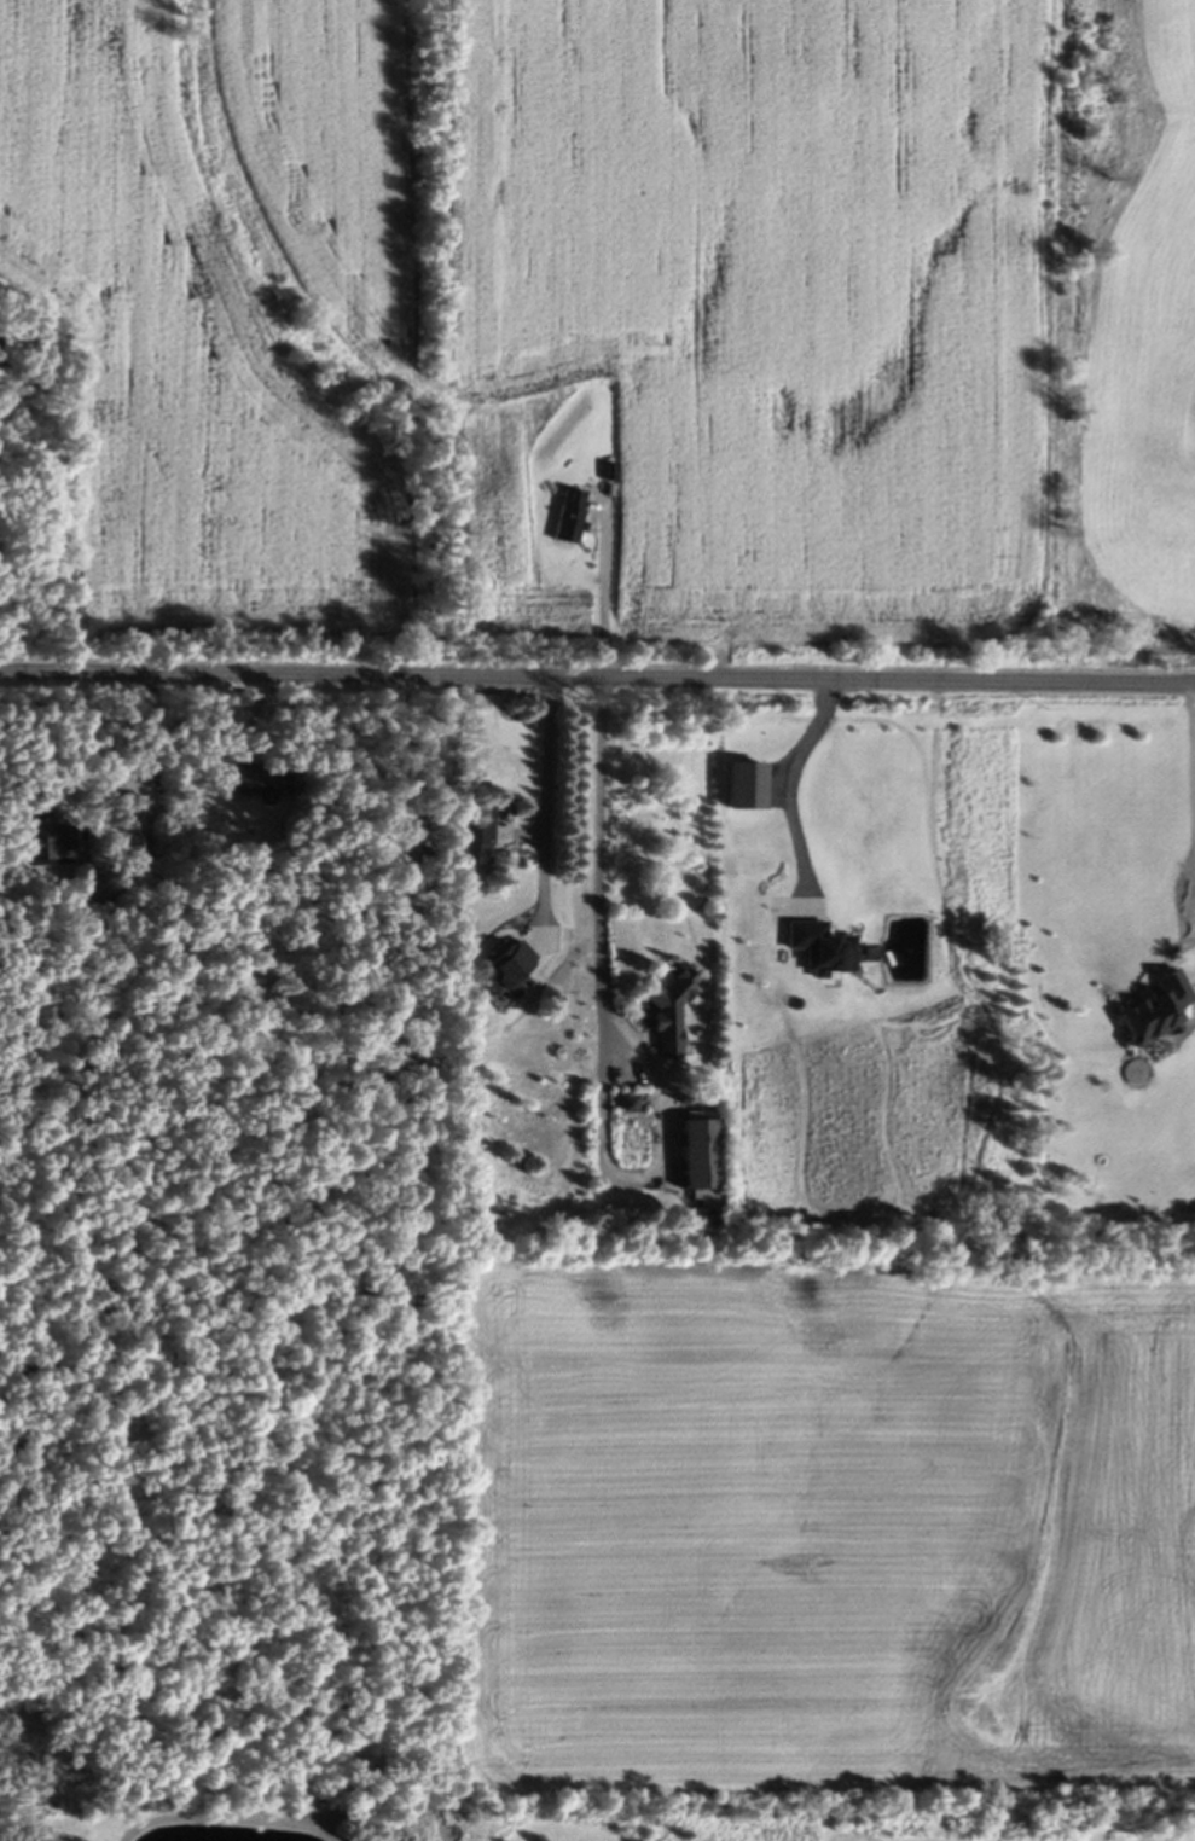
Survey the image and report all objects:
road: (601, 591)
road: (597, 678)
road: (146, 754)
road: (787, 778)
road: (546, 807)
building: (128, 825)
building: (470, 836)
building: (42, 844)
building: (505, 966)
building: (1155, 1011)
building: (668, 1015)
road: (601, 1035)
building: (696, 1160)

